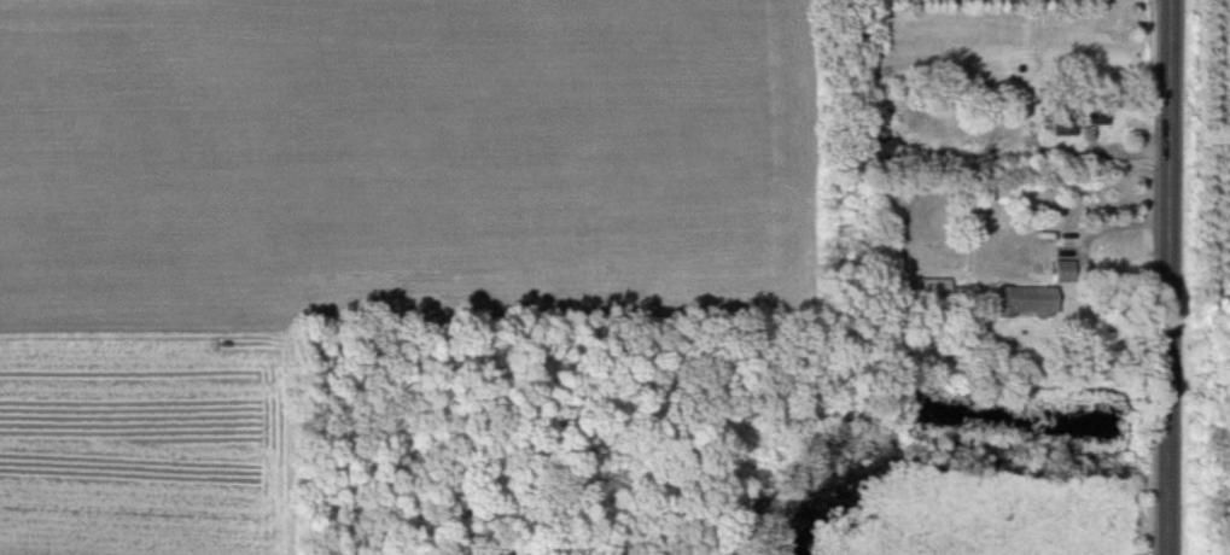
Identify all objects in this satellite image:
building: (1079, 116)
building: (882, 148)
building: (1066, 271)
road: (1168, 277)
building: (934, 290)
building: (1028, 302)

